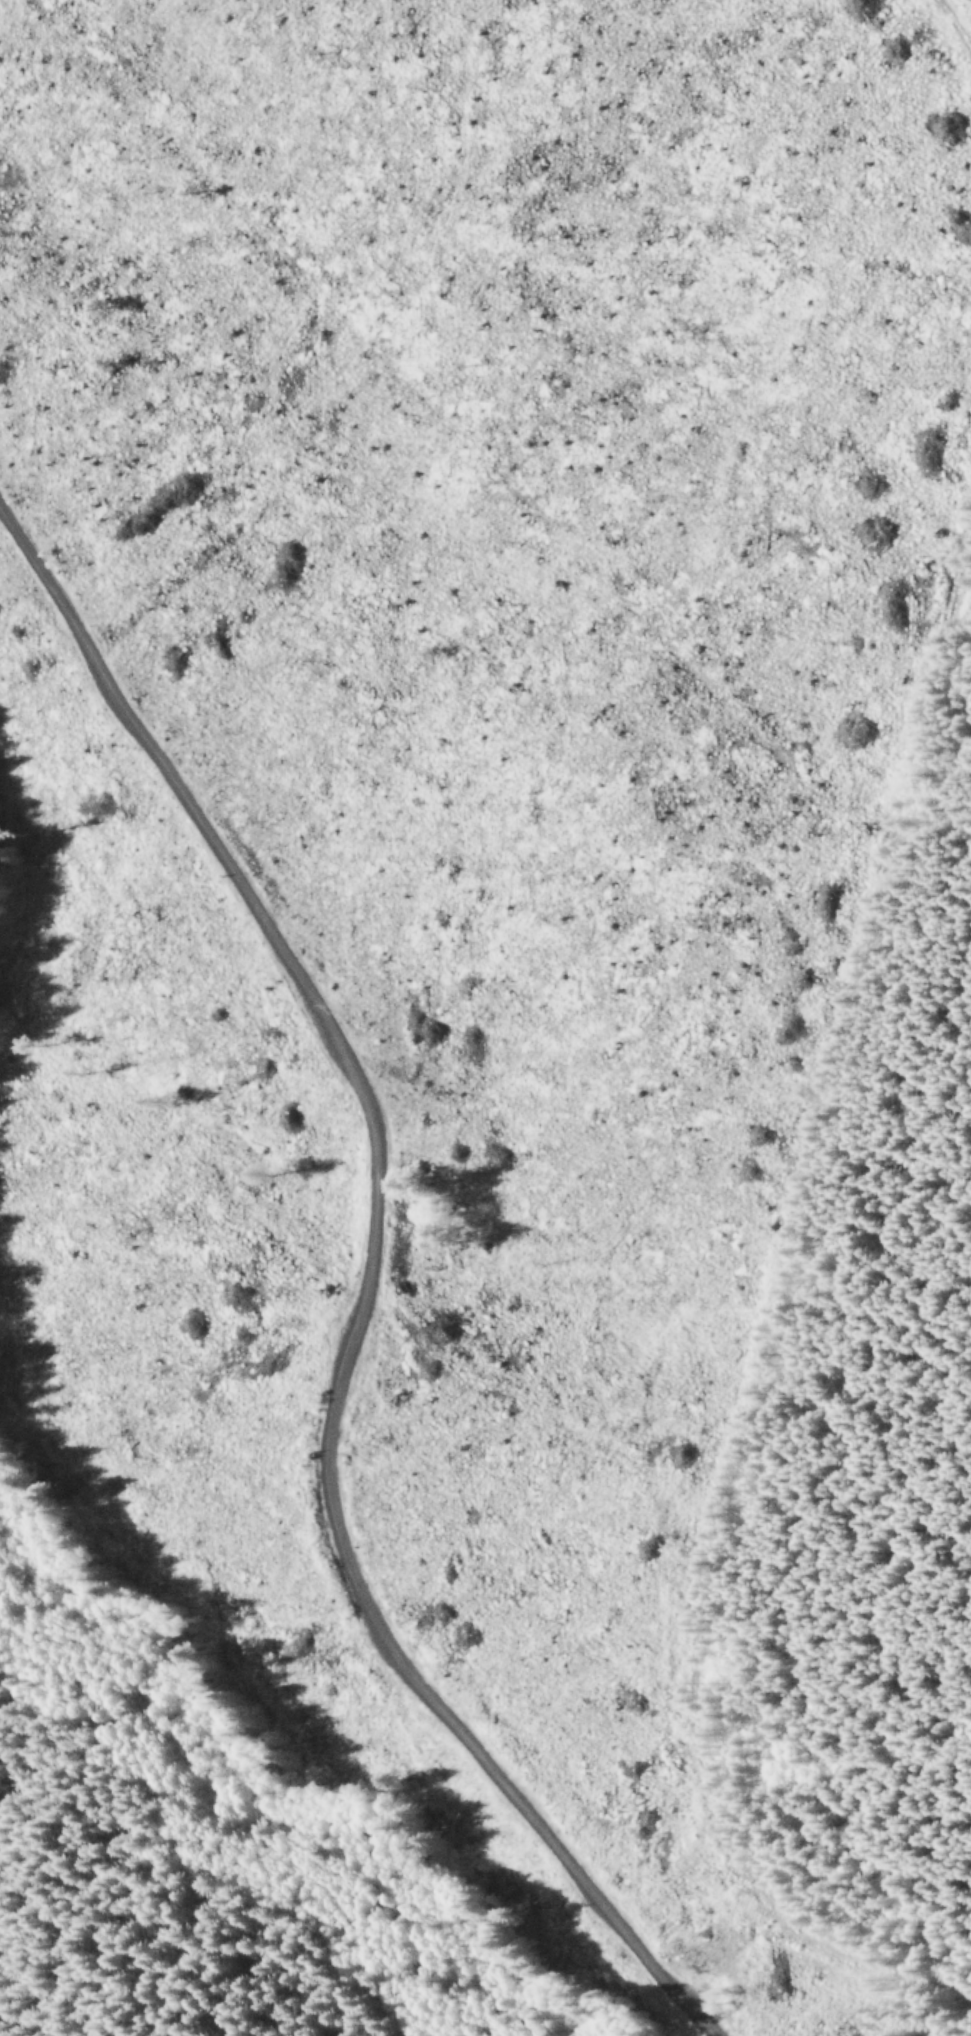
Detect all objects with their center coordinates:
road: (338, 1307)
road: (922, 2024)

